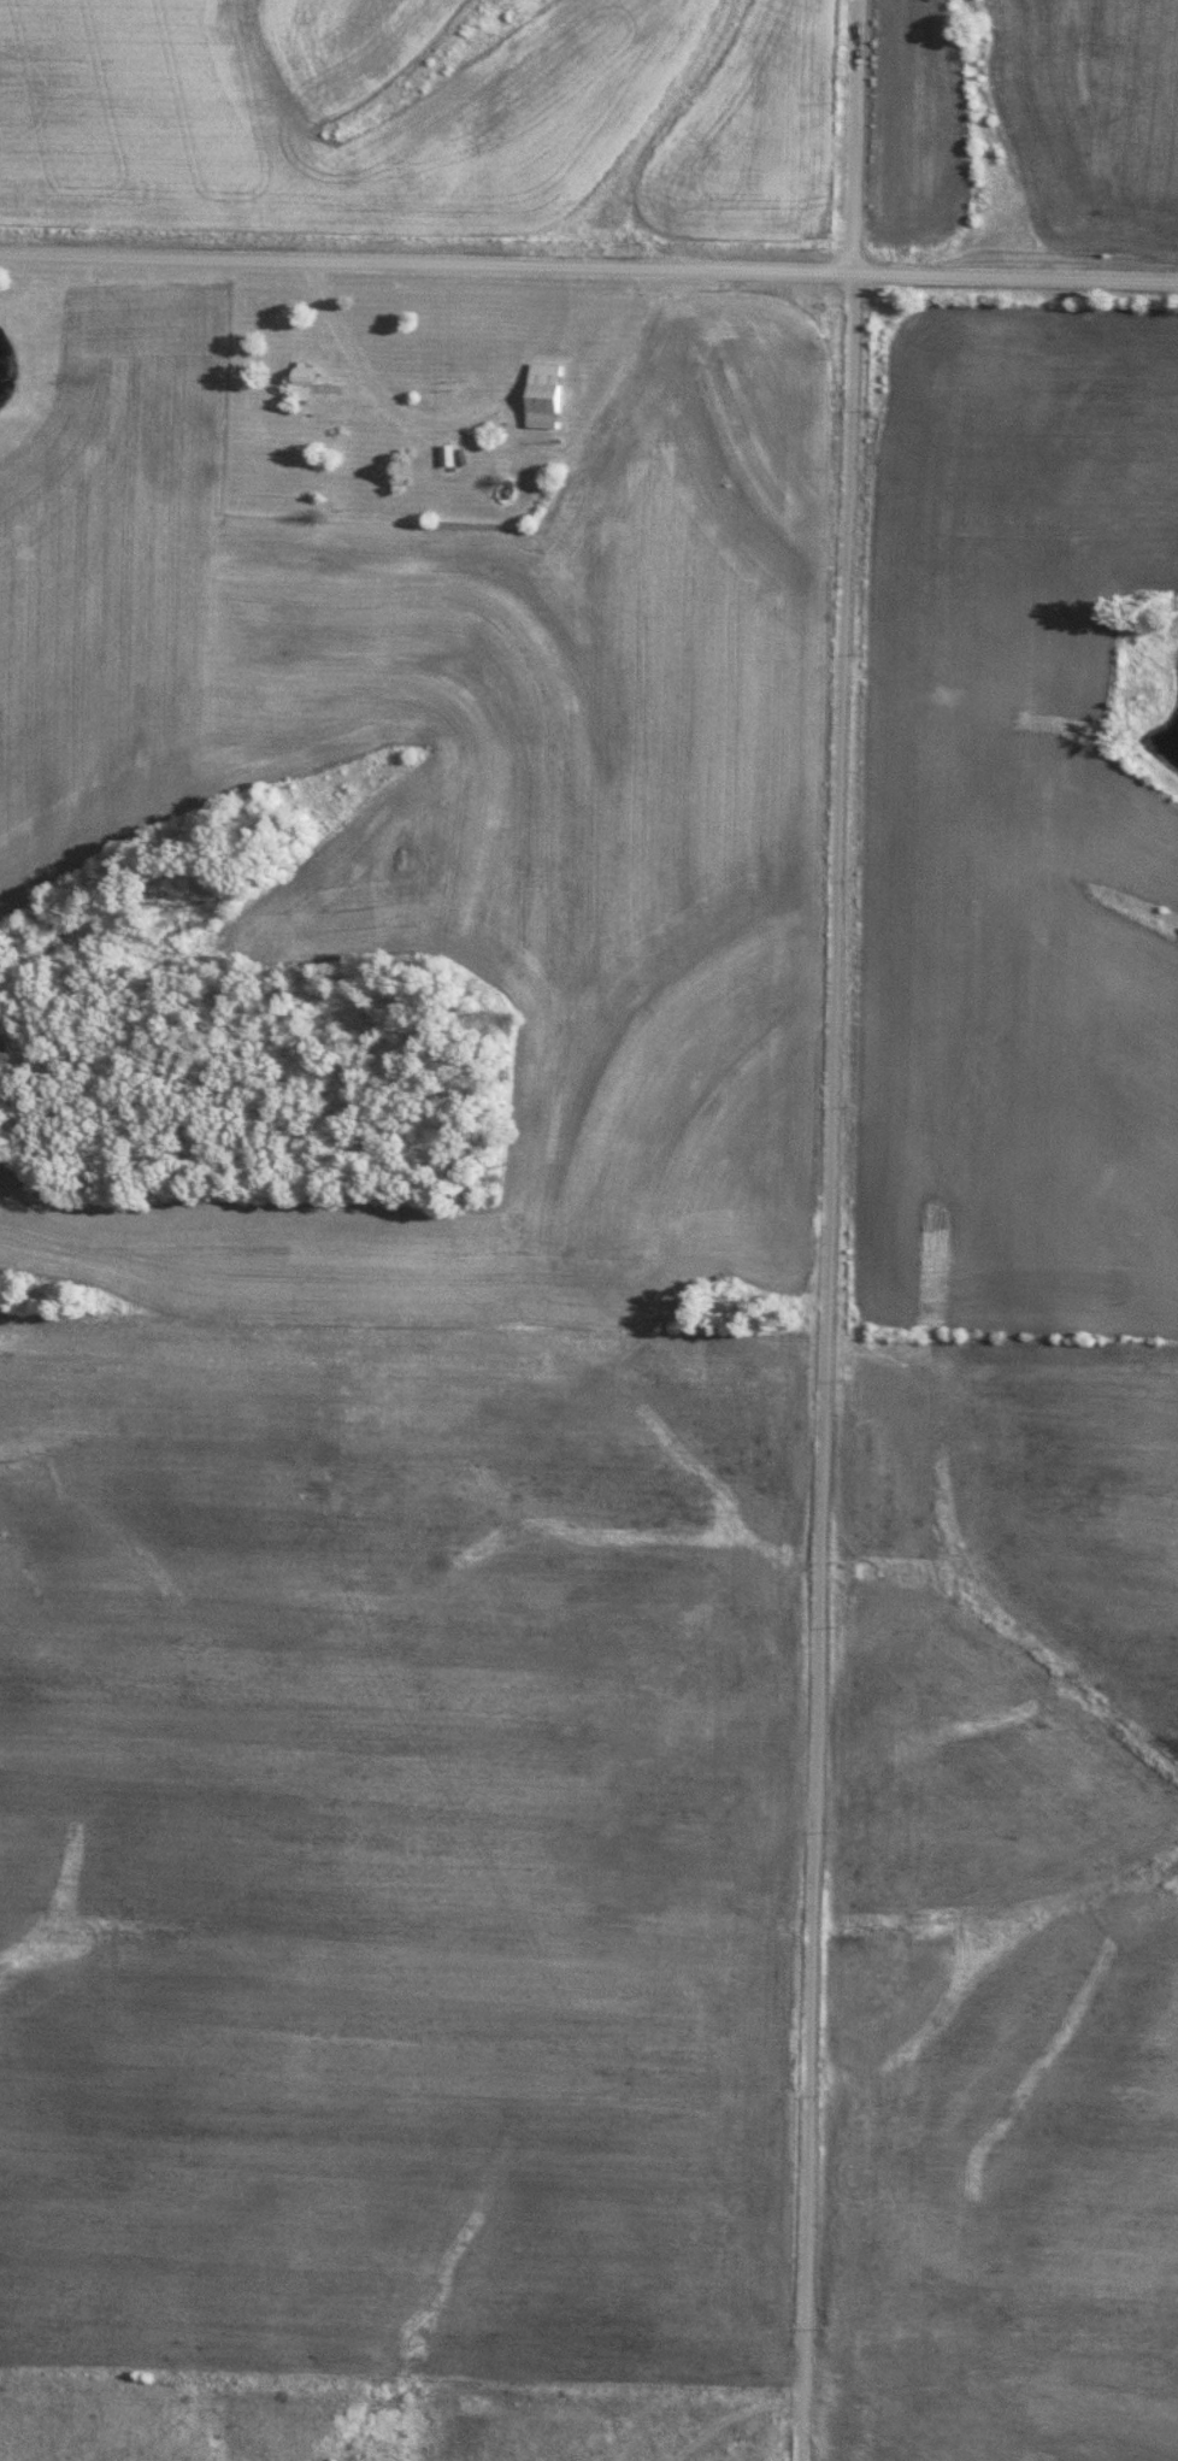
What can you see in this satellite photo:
road: (855, 137)
road: (589, 271)
building: (308, 381)
building: (547, 396)
building: (449, 455)
road: (825, 1367)

